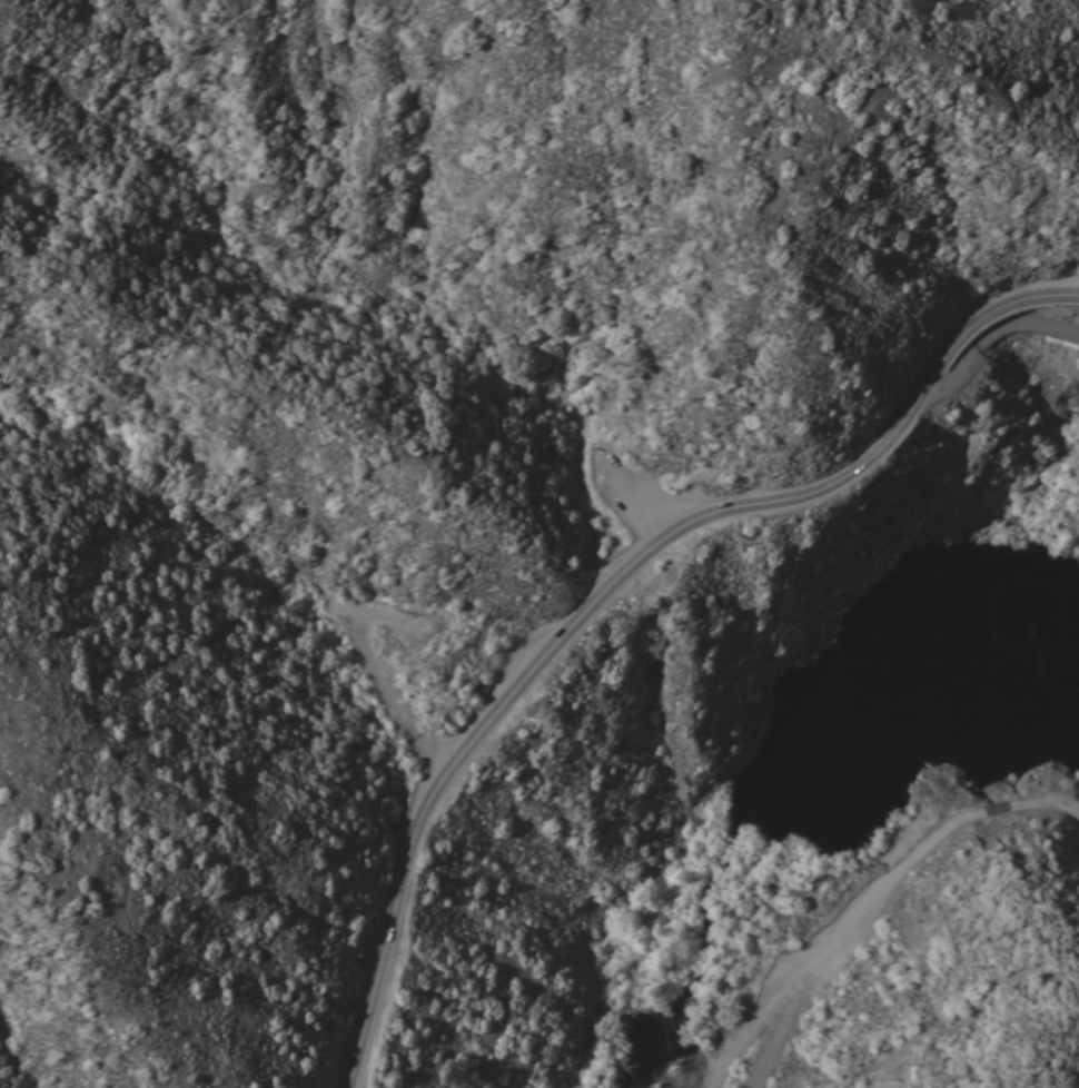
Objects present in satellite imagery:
road: (984, 2)
road: (763, 8)
road: (1031, 325)
road: (610, 585)
river: (789, 795)
road: (867, 898)
road: (775, 1030)

